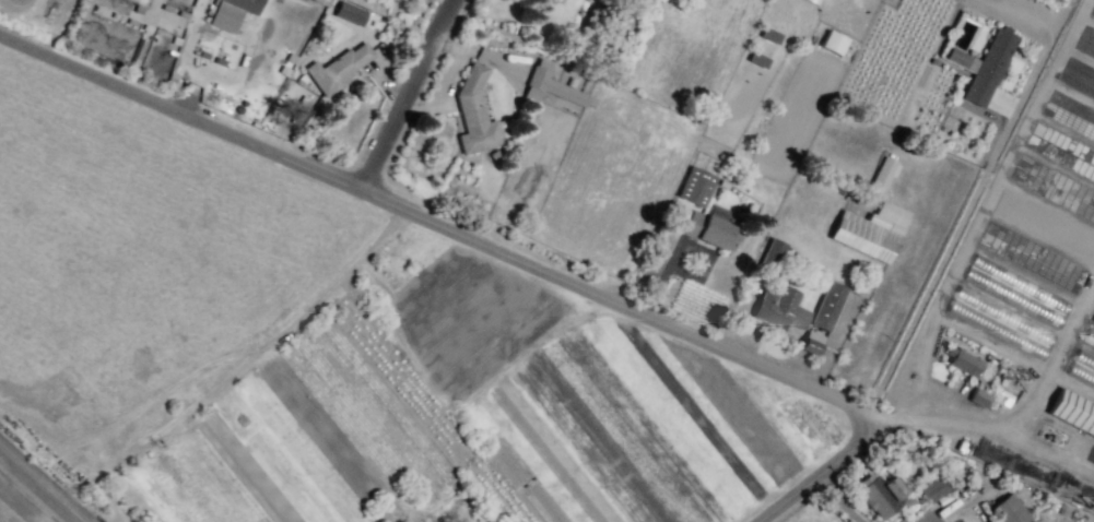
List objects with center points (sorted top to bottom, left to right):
building: (537, 3)
building: (231, 12)
building: (350, 14)
building: (765, 15)
building: (768, 36)
building: (832, 43)
building: (756, 60)
building: (338, 68)
building: (983, 68)
building: (546, 85)
road: (404, 93)
building: (474, 114)
building: (878, 180)
building: (695, 186)
road: (958, 217)
road: (433, 220)
building: (711, 228)
building: (869, 232)
building: (769, 257)
building: (828, 306)
building: (778, 307)
building: (810, 348)
building: (963, 360)
building: (977, 398)
crop: (458, 411)
building: (1073, 411)
road: (1014, 412)
road: (820, 474)
road: (42, 483)
building: (932, 490)
building: (881, 495)
building: (543, 501)
building: (1008, 510)

